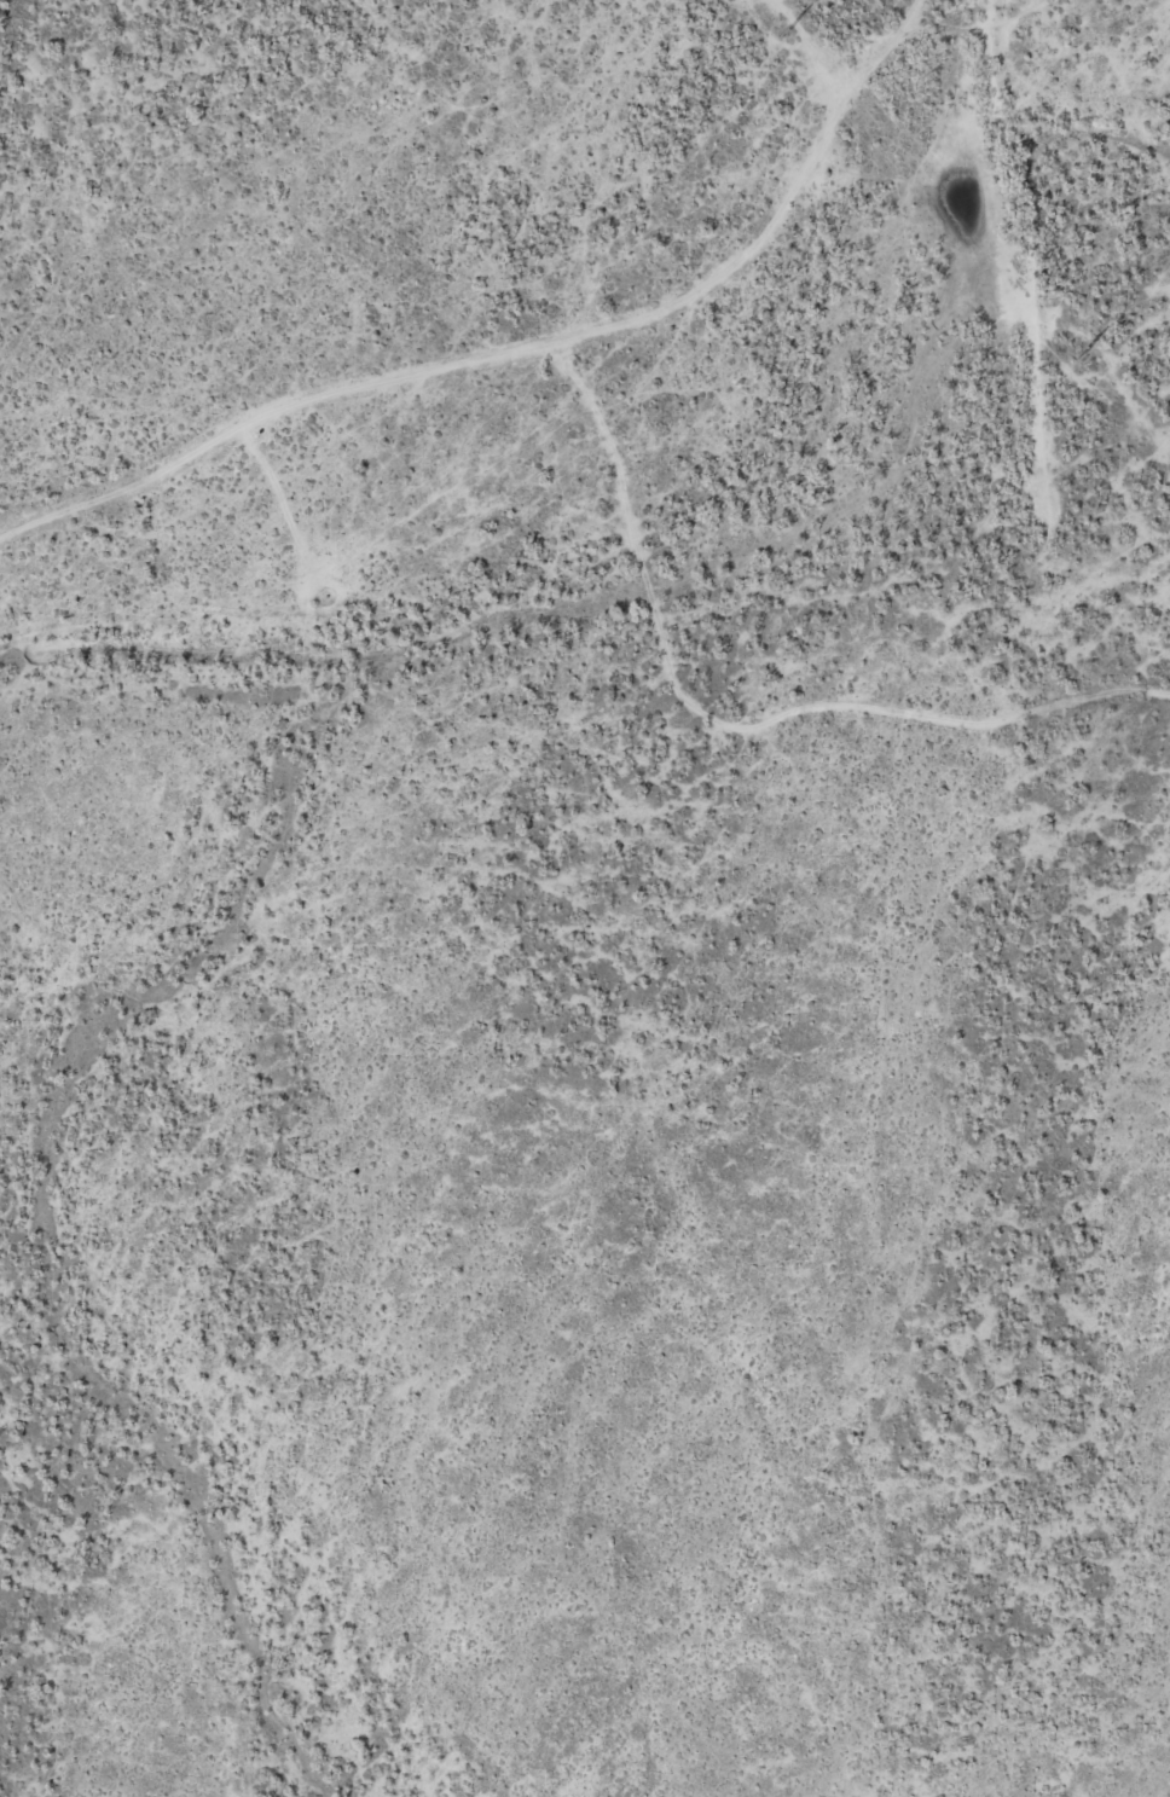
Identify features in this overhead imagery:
power tower: (784, 34)
road: (810, 45)
road: (1036, 233)
road: (521, 348)
power tower: (1078, 356)
road: (280, 495)
road: (734, 724)

